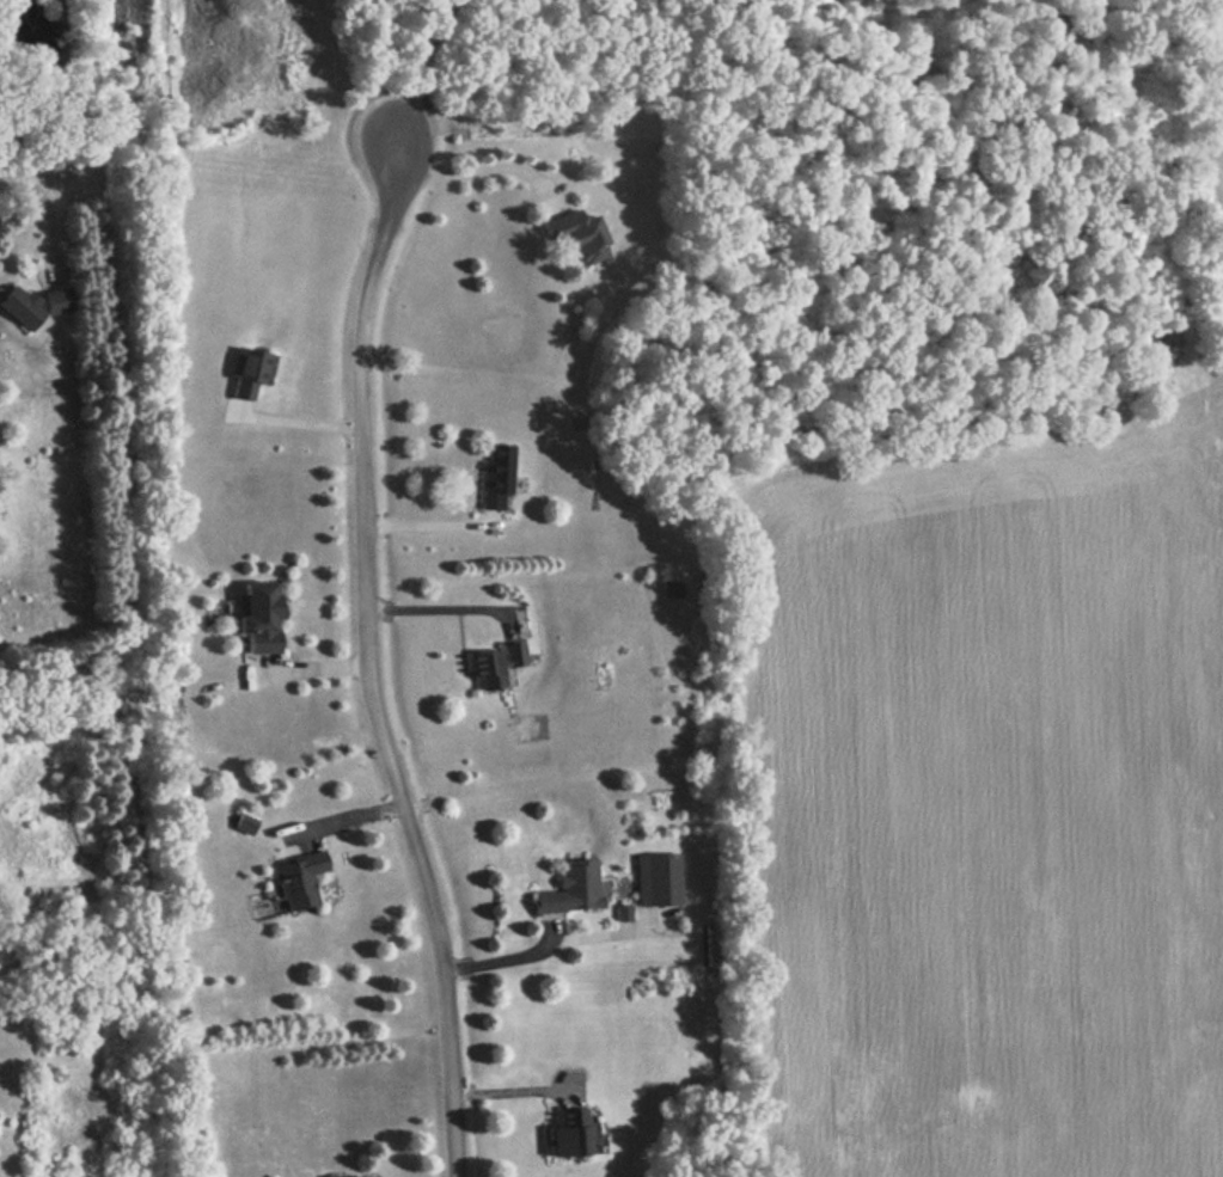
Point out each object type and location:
road: (426, 72)
road: (479, 172)
road: (47, 196)
building: (575, 235)
building: (32, 304)
building: (247, 373)
road: (294, 422)
building: (496, 476)
road: (433, 525)
road: (432, 611)
building: (256, 617)
road: (367, 663)
building: (495, 666)
building: (244, 823)
building: (656, 878)
building: (300, 879)
building: (568, 888)
road: (509, 958)
road: (515, 1087)
building: (568, 1134)

